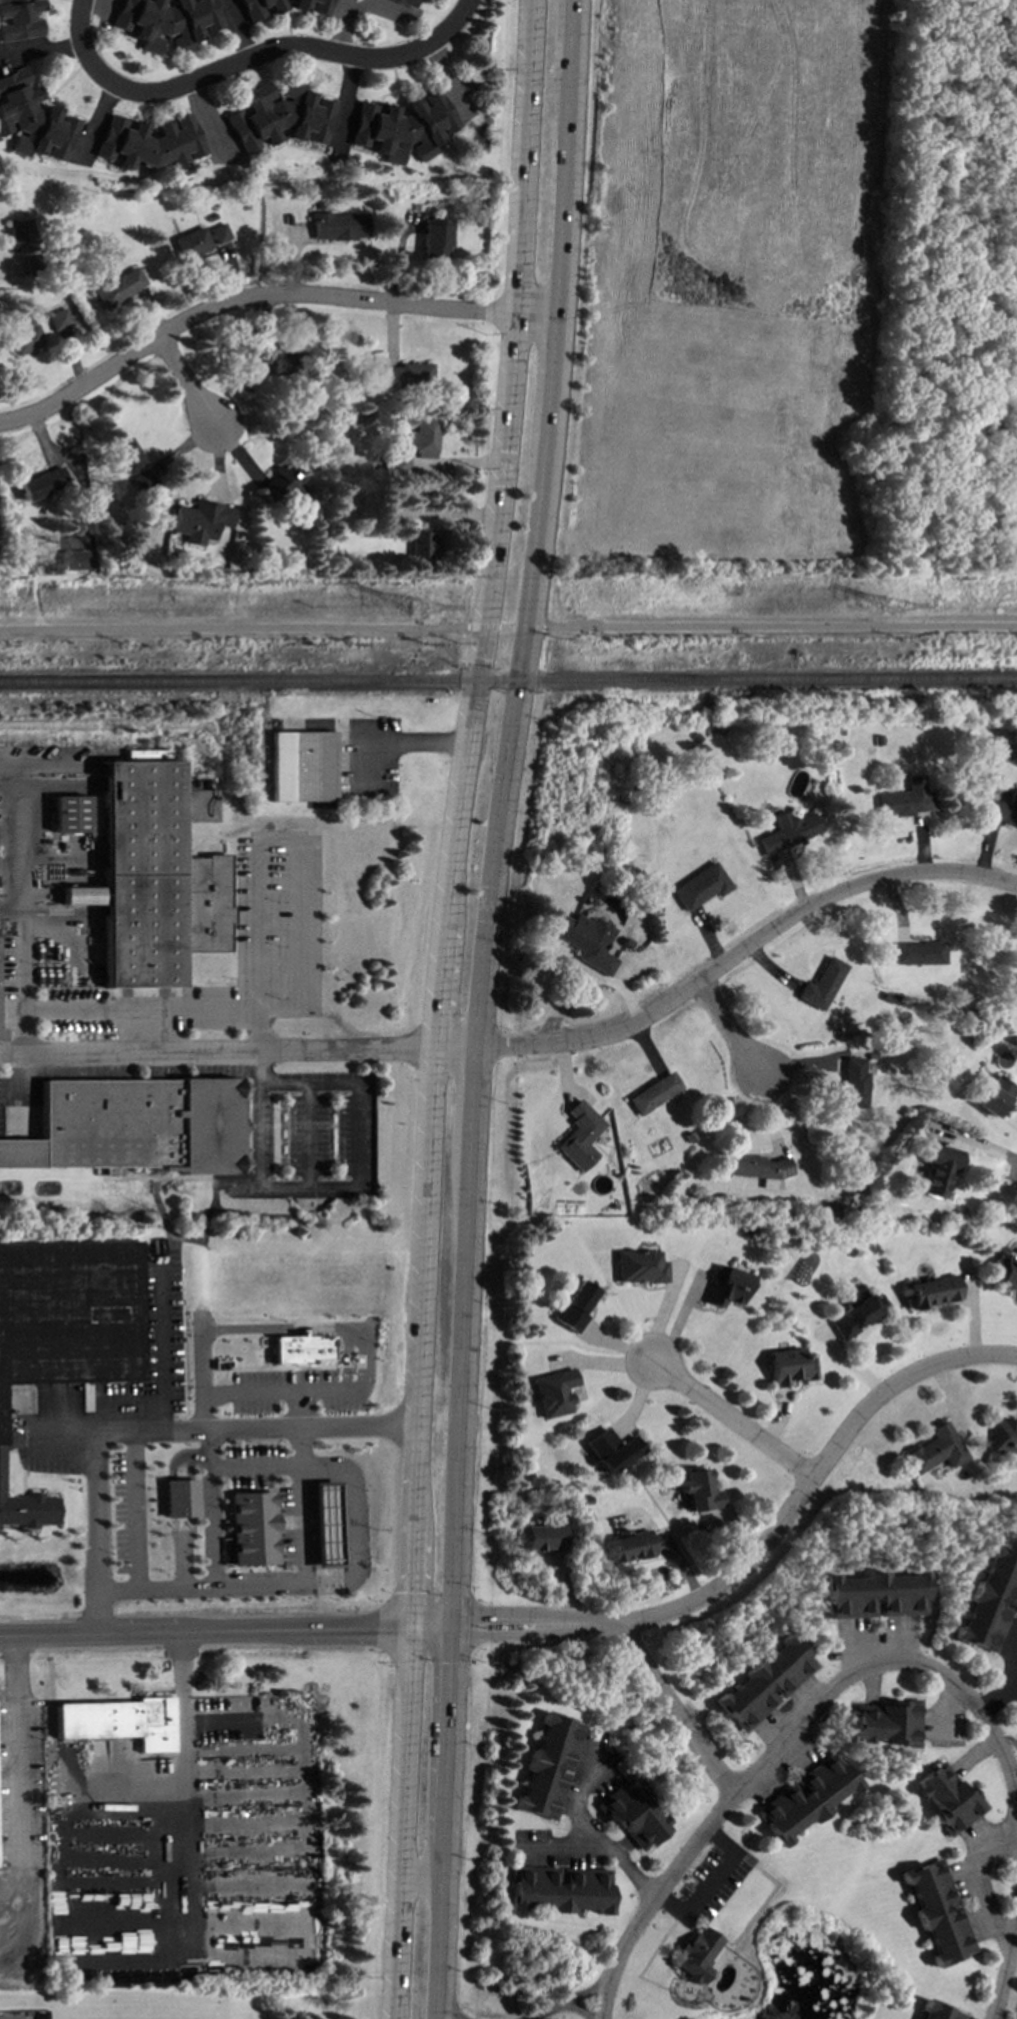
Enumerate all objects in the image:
building: (405, 2)
building: (299, 4)
building: (321, 7)
building: (257, 8)
building: (18, 19)
building: (165, 21)
road: (78, 24)
road: (39, 50)
road: (274, 50)
road: (349, 99)
building: (278, 116)
building: (33, 118)
building: (402, 126)
building: (150, 141)
building: (338, 225)
building: (218, 232)
building: (21, 235)
building: (435, 238)
building: (191, 242)
building: (119, 287)
crop: (726, 289)
park: (947, 297)
road: (262, 299)
building: (58, 318)
building: (25, 338)
building: (257, 359)
building: (292, 363)
building: (406, 375)
road: (187, 382)
building: (421, 437)
building: (130, 456)
building: (43, 482)
building: (282, 483)
building: (386, 515)
building: (200, 520)
building: (420, 544)
building: (73, 559)
power tower: (418, 608)
power tower: (895, 608)
road: (779, 625)
road: (483, 626)
road: (234, 627)
road: (506, 627)
road: (528, 628)
railway: (508, 680)
road: (394, 742)
building: (302, 765)
building: (904, 798)
building: (1003, 809)
building: (70, 813)
building: (787, 830)
road: (301, 844)
building: (155, 876)
building: (699, 886)
road: (20, 920)
building: (584, 939)
road: (742, 951)
building: (918, 952)
building: (820, 983)
road: (192, 1007)
road: (441, 1007)
road: (477, 1007)
road: (729, 1027)
road: (236, 1048)
building: (852, 1082)
building: (651, 1092)
building: (994, 1096)
building: (137, 1125)
building: (577, 1135)
building: (756, 1167)
road: (360, 1169)
building: (935, 1170)
building: (637, 1266)
building: (1004, 1270)
building: (724, 1286)
building: (931, 1291)
building: (572, 1306)
building: (852, 1312)
building: (65, 1330)
road: (161, 1344)
building: (301, 1348)
building: (787, 1366)
road: (253, 1390)
building: (552, 1392)
road: (729, 1419)
road: (438, 1427)
road: (161, 1430)
building: (1002, 1436)
building: (932, 1449)
building: (610, 1450)
building: (696, 1490)
building: (179, 1497)
road: (796, 1500)
road: (133, 1510)
road: (349, 1523)
building: (327, 1525)
building: (252, 1527)
building: (540, 1536)
building: (626, 1546)
road: (304, 1551)
road: (213, 1564)
building: (872, 1594)
building: (989, 1600)
road: (504, 1615)
road: (430, 1630)
road: (205, 1633)
road: (507, 1636)
road: (893, 1665)
road: (1016, 1678)
road: (1016, 1681)
building: (762, 1683)
road: (996, 1697)
road: (674, 1711)
building: (118, 1721)
building: (887, 1721)
road: (184, 1742)
road: (16, 1752)
building: (546, 1766)
building: (946, 1797)
building: (802, 1798)
building: (631, 1814)
road: (593, 1838)
road: (420, 1878)
road: (706, 1880)
road: (967, 1881)
road: (662, 1885)
building: (556, 1889)
building: (936, 1911)
building: (694, 1954)
road: (1006, 1966)
road: (582, 1995)
road: (602, 2002)
road: (575, 2011)
building: (937, 2011)
road: (546, 2012)
road: (437, 2018)

